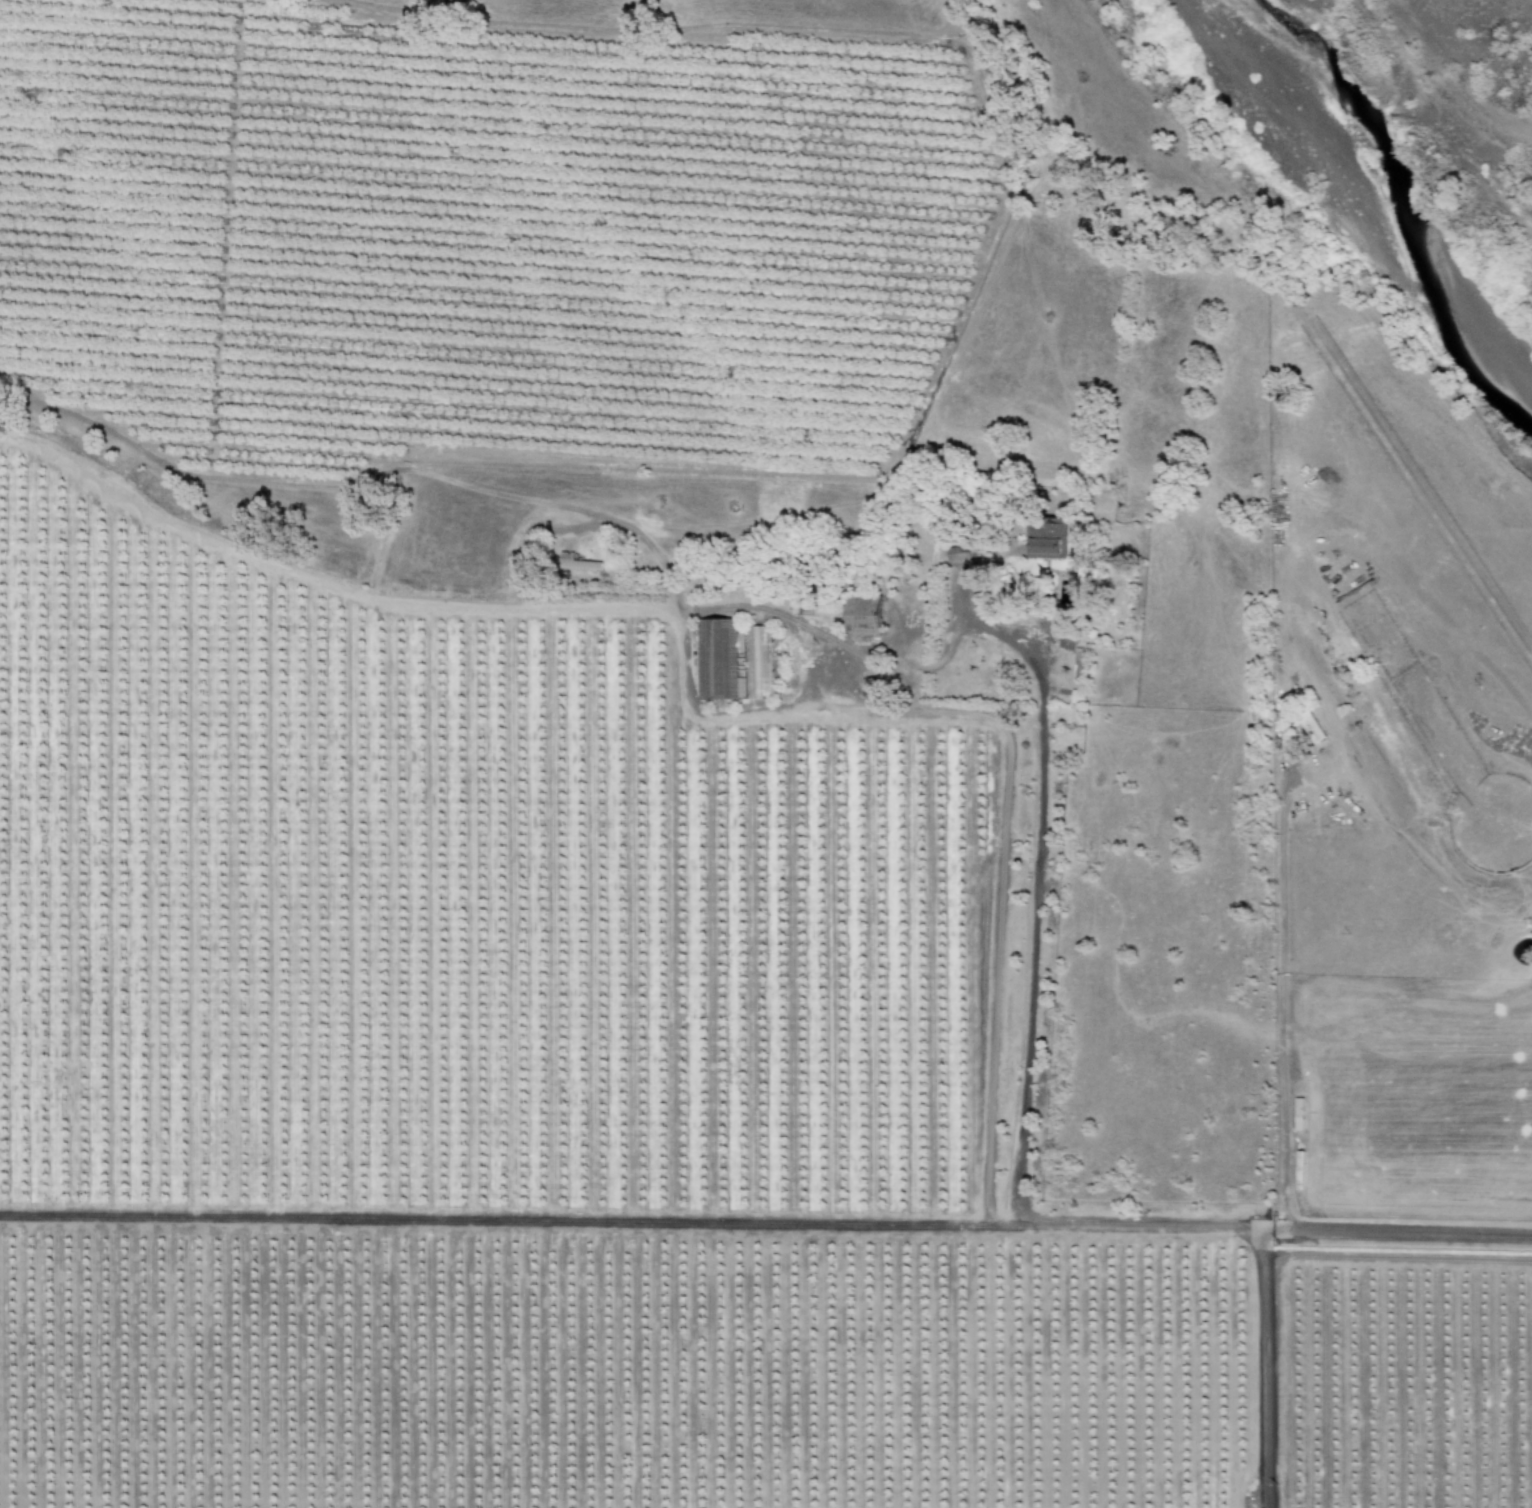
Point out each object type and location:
river: (1401, 206)
building: (1045, 539)
building: (578, 565)
building: (860, 614)
building: (717, 659)
building: (754, 662)
building: (1076, 697)
road: (933, 712)
building: (1310, 730)
road: (1036, 847)
road: (1281, 1002)
road: (494, 1220)
road: (1141, 1227)
road: (1413, 1233)

